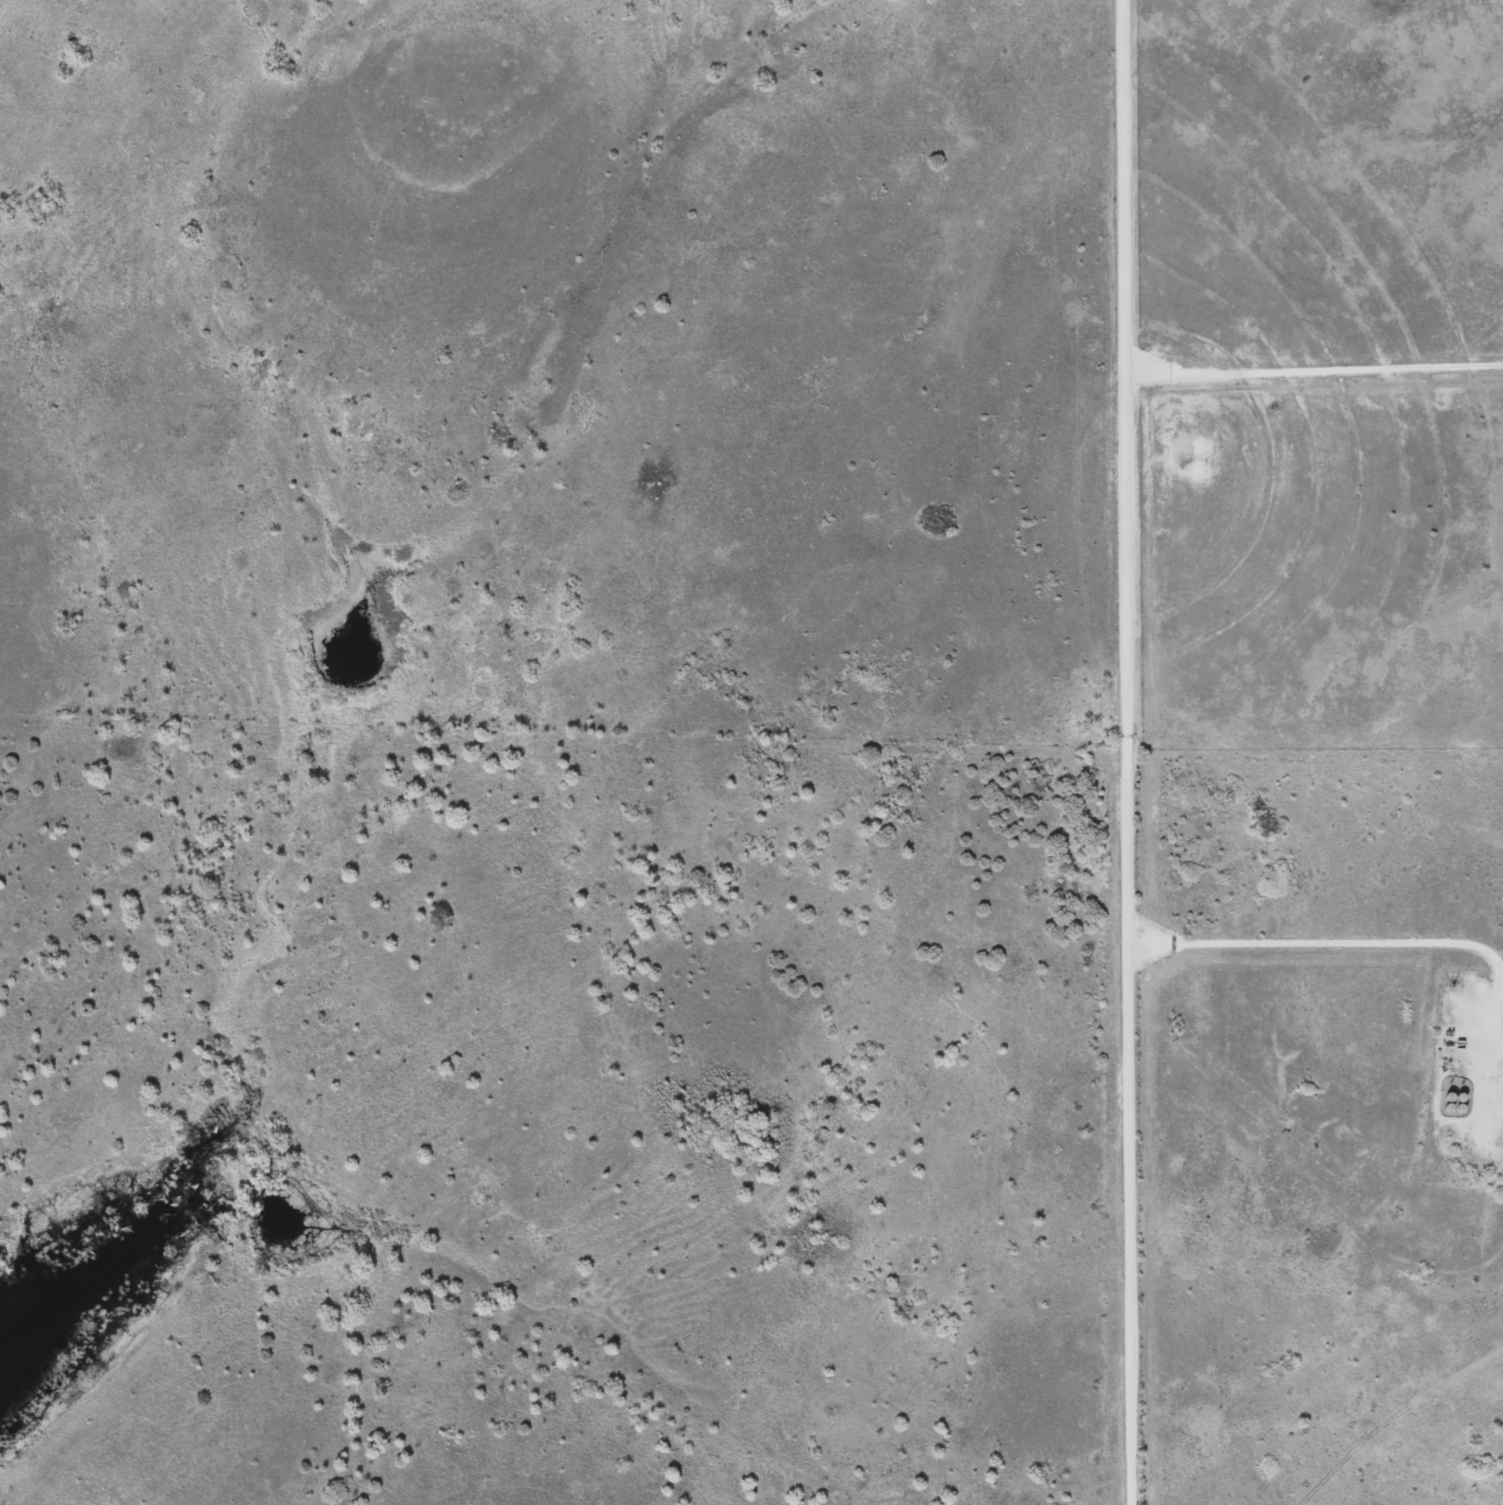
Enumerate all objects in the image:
road: (1312, 368)
road: (1123, 752)
road: (1364, 944)

